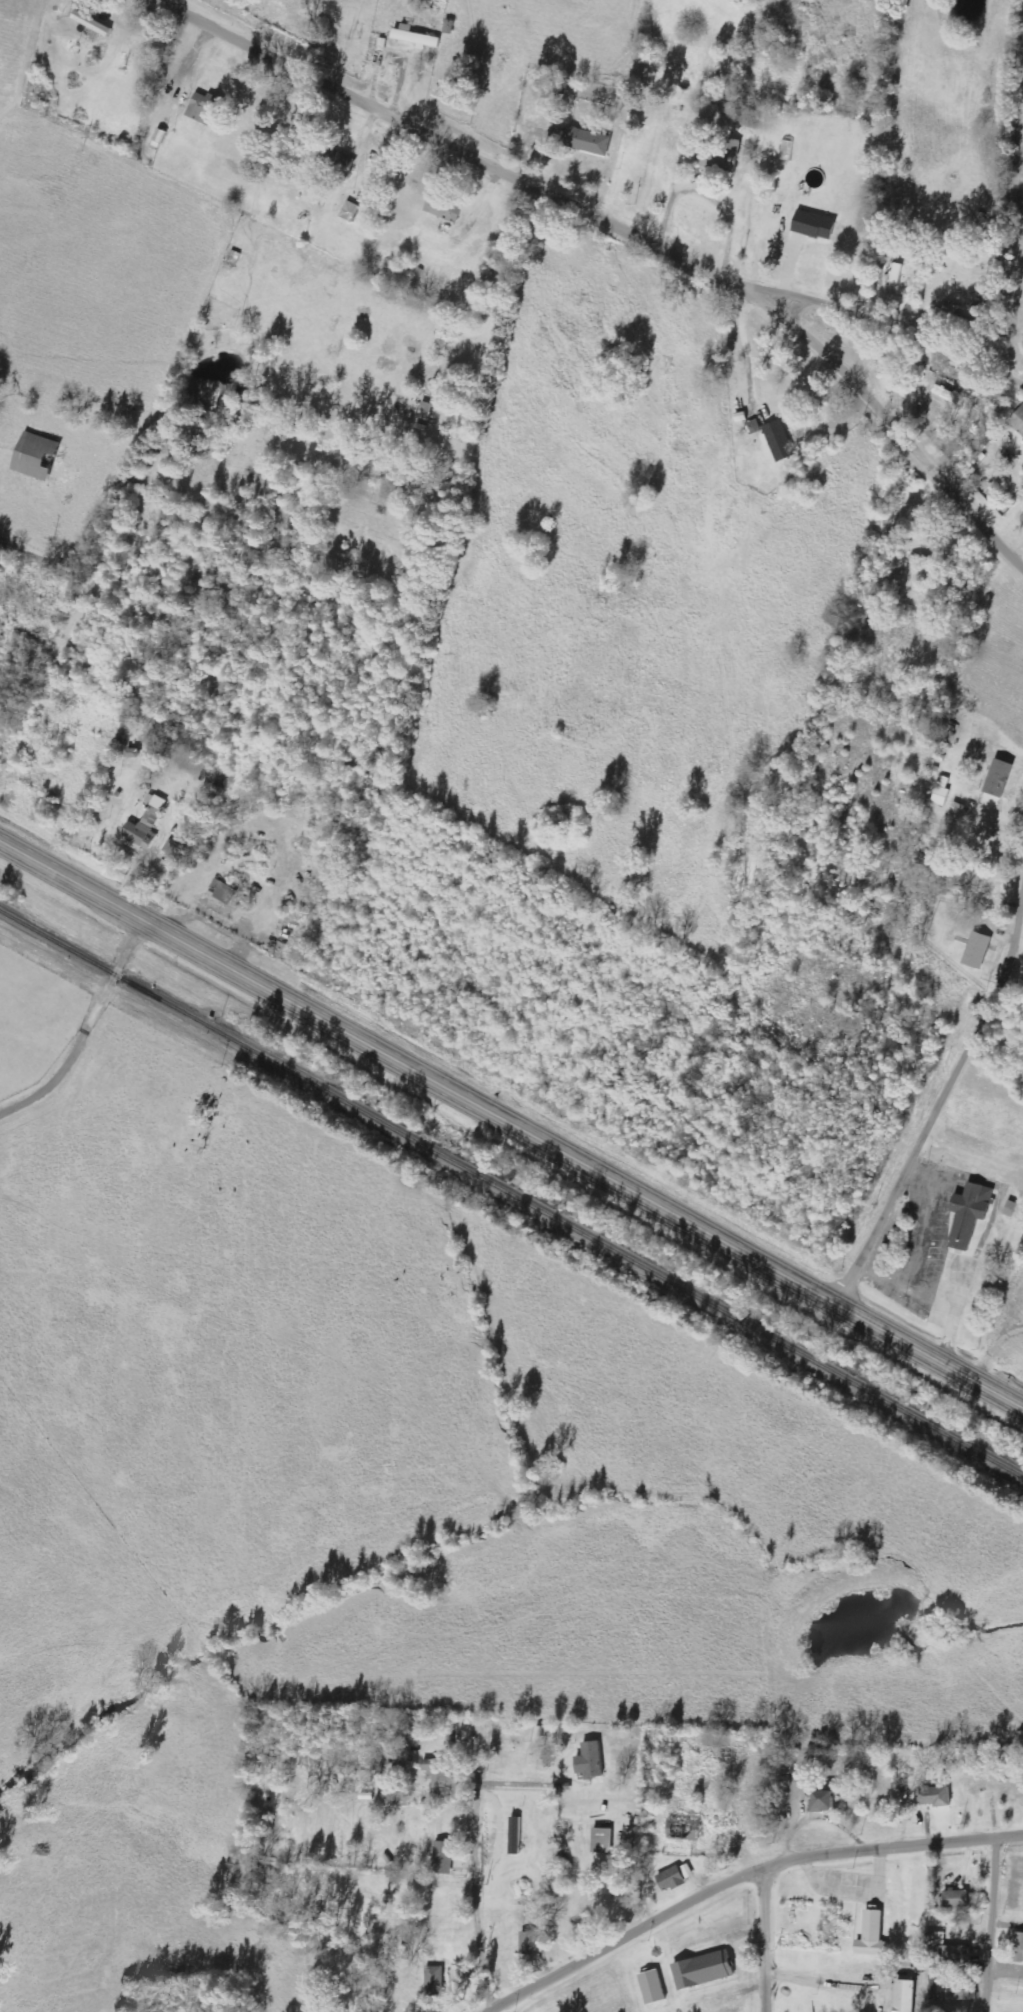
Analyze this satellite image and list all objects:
building: (93, 23)
building: (416, 37)
building: (206, 108)
building: (160, 138)
building: (581, 140)
road: (469, 147)
building: (727, 157)
building: (444, 208)
building: (350, 211)
building: (814, 225)
building: (897, 273)
road: (898, 316)
building: (1018, 421)
road: (893, 429)
building: (780, 441)
building: (35, 456)
building: (915, 574)
building: (998, 783)
building: (144, 824)
building: (224, 892)
building: (977, 951)
road: (89, 1035)
road: (421, 1070)
road: (941, 1088)
railway: (511, 1189)
building: (970, 1214)
road: (933, 1355)
building: (590, 1762)
building: (437, 1773)
building: (933, 1797)
building: (823, 1801)
building: (684, 1830)
building: (602, 1841)
building: (443, 1857)
road: (741, 1878)
building: (671, 1879)
road: (477, 1886)
building: (956, 1899)
road: (996, 1926)
building: (872, 1936)
road: (767, 1938)
building: (529, 1943)
building: (1018, 1948)
building: (704, 1970)
building: (435, 1983)
building: (653, 1987)
building: (955, 1995)
building: (903, 1997)
road: (488, 2011)

